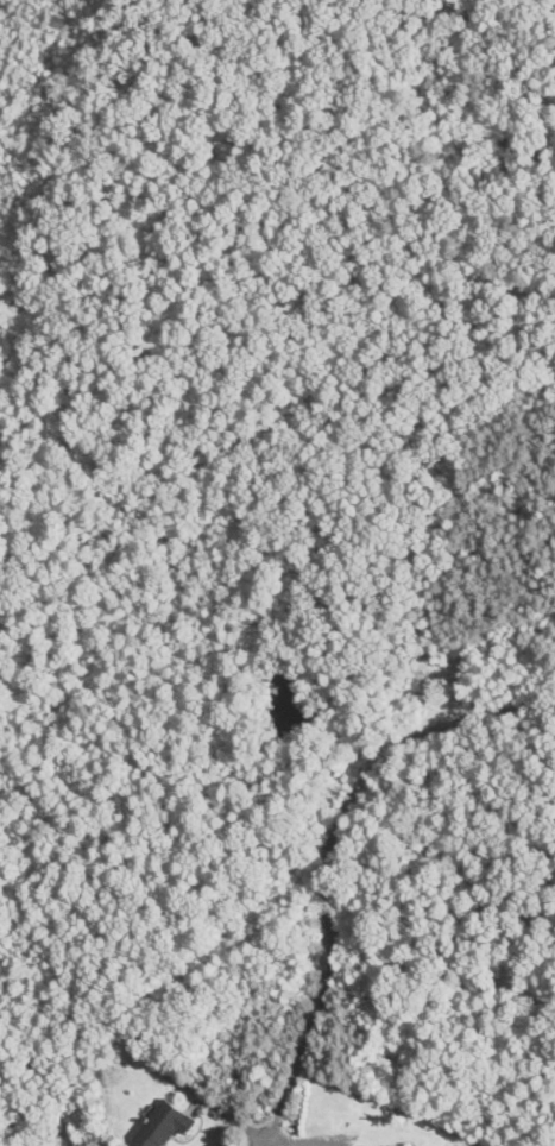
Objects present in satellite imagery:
road: (328, 850)
building: (162, 1125)
road: (267, 1140)

